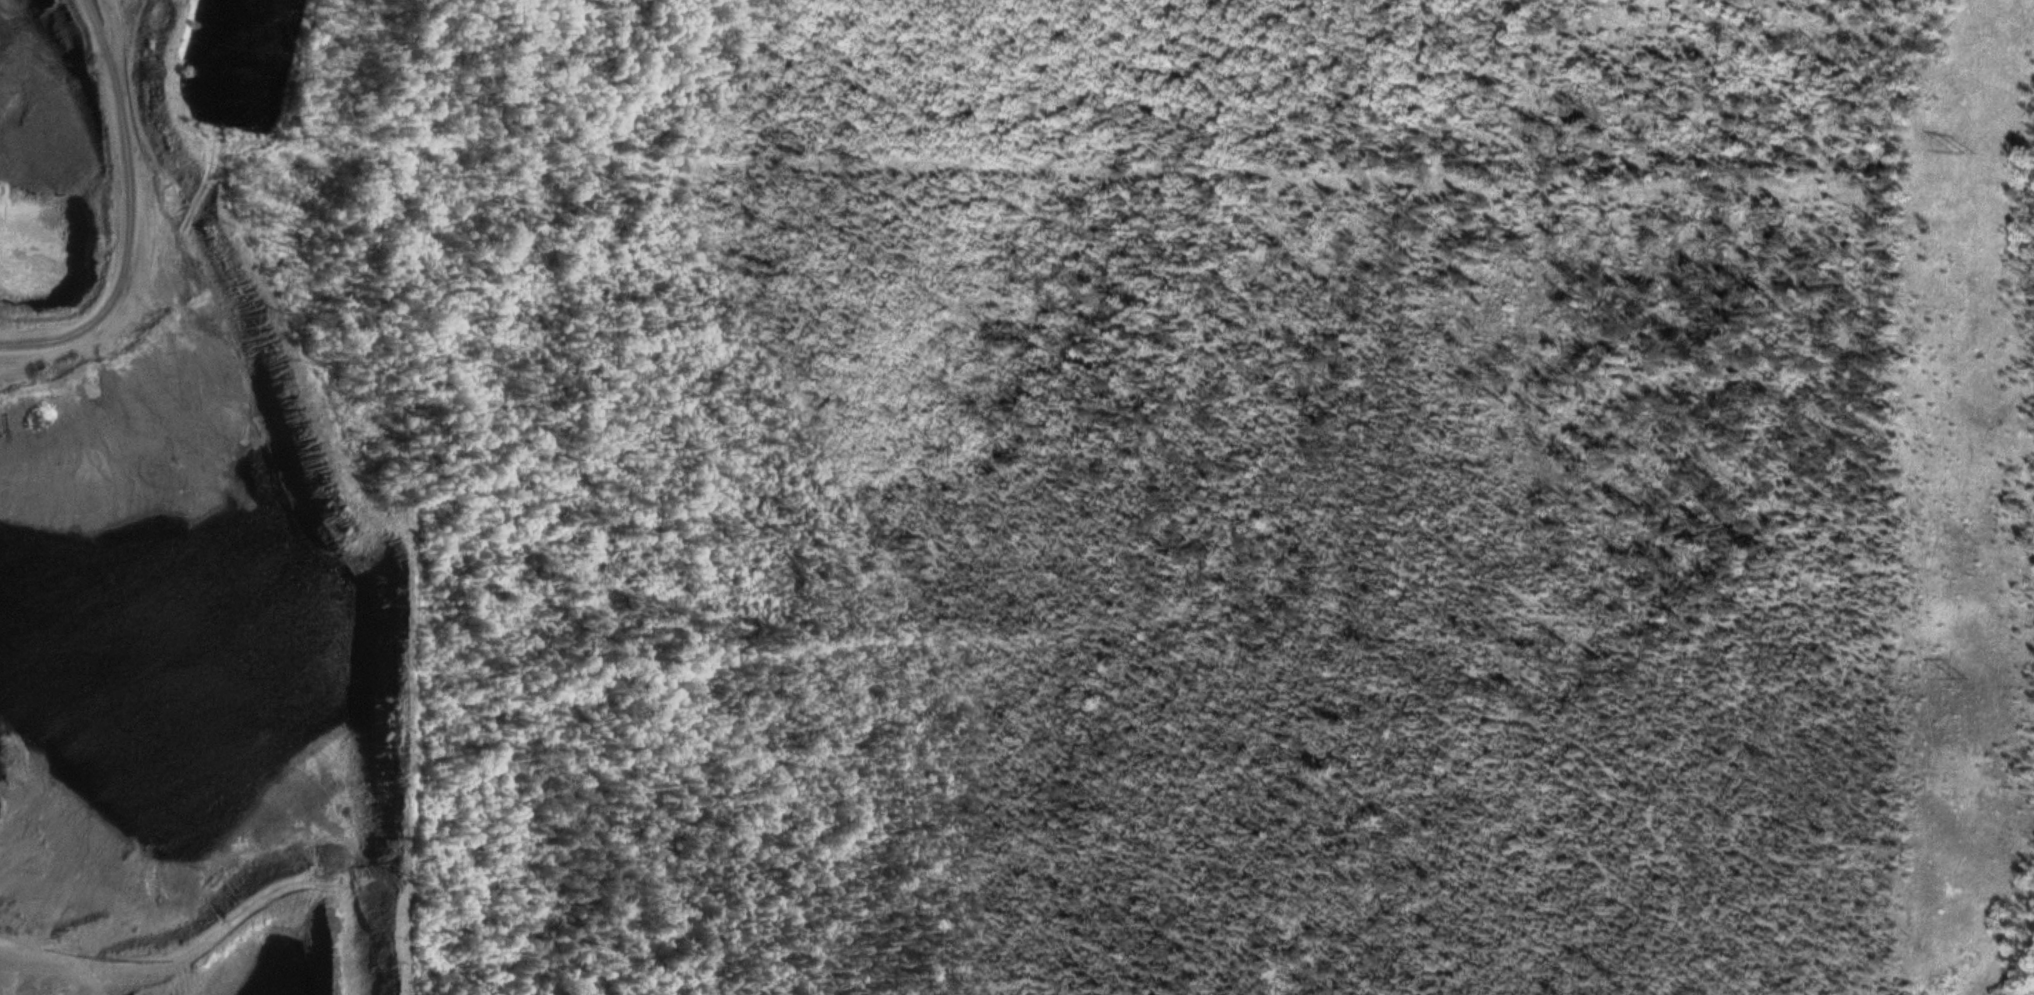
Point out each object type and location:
quarry: (260, 493)

